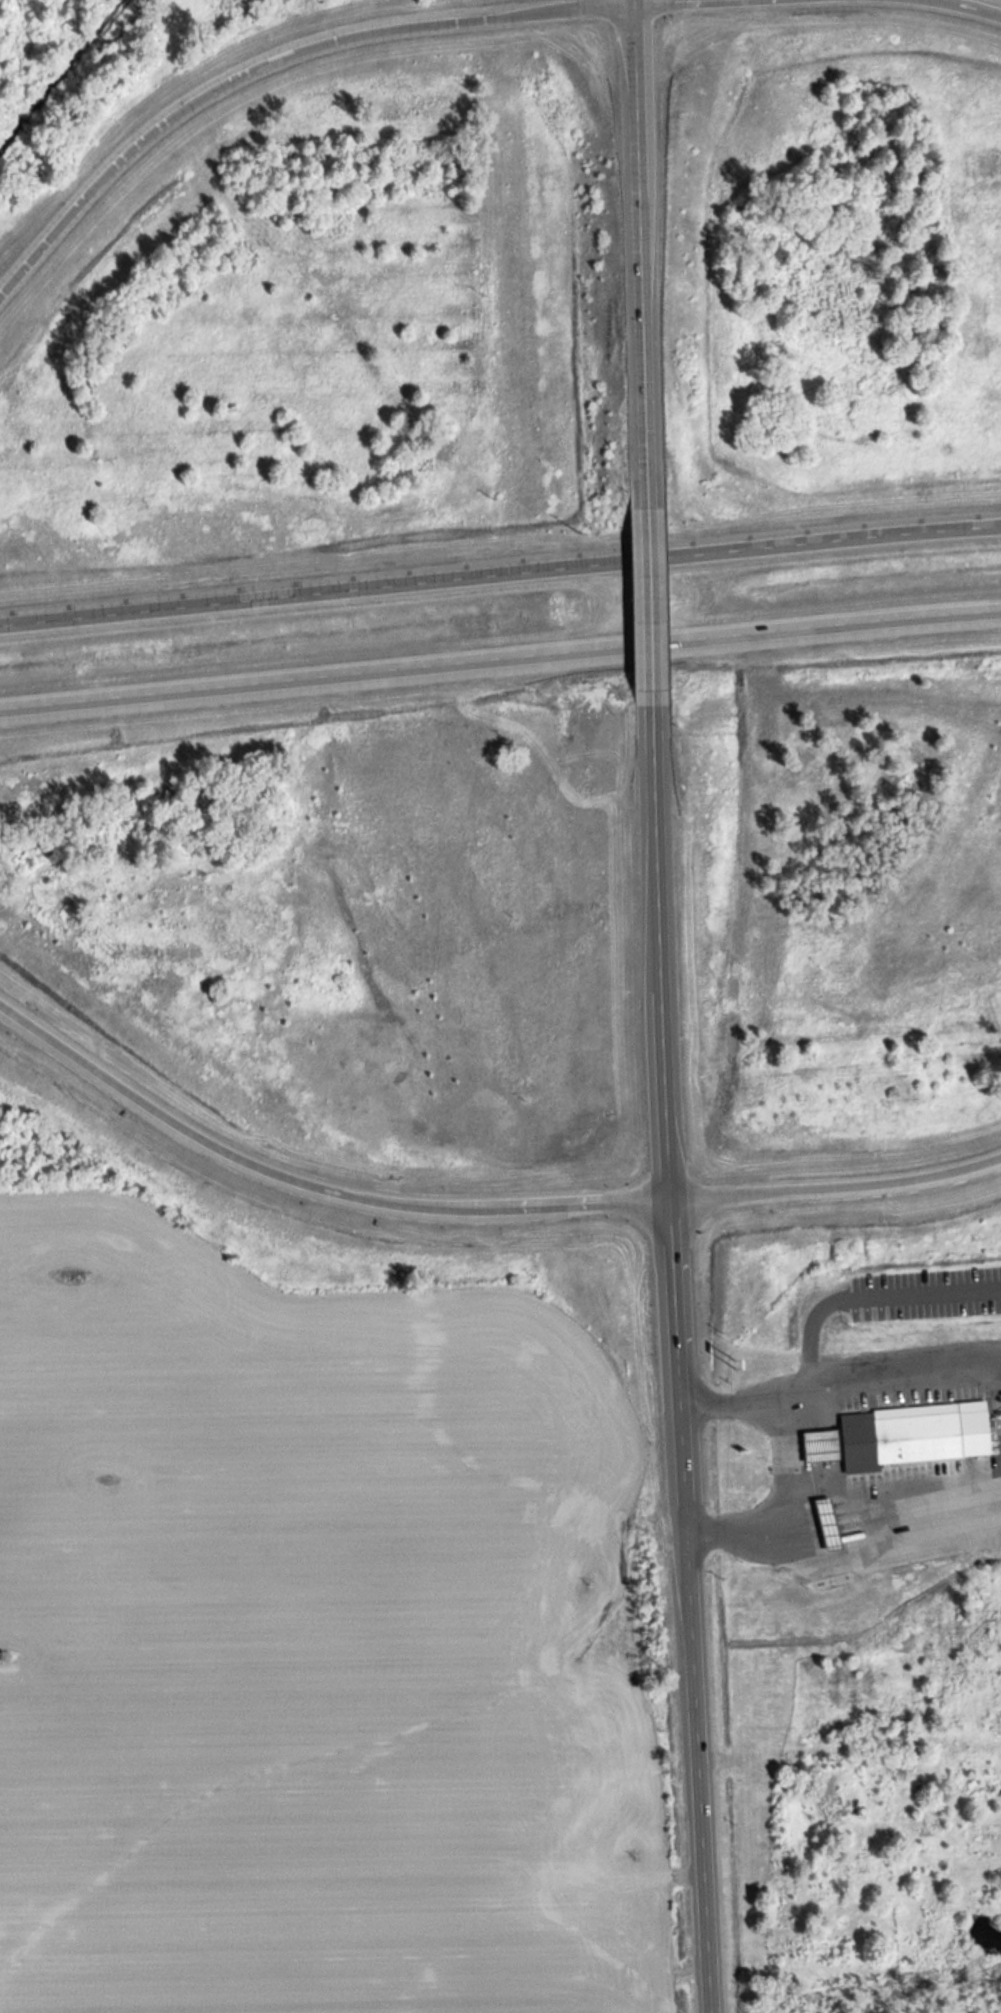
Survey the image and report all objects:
road: (969, 6)
road: (266, 64)
river: (62, 81)
road: (639, 257)
road: (500, 572)
road: (649, 602)
road: (500, 658)
road: (835, 1188)
road: (309, 1190)
road: (866, 1302)
road: (675, 1351)
road: (879, 1388)
building: (911, 1434)
building: (818, 1445)
road: (792, 1463)
road: (898, 1486)
building: (824, 1524)

